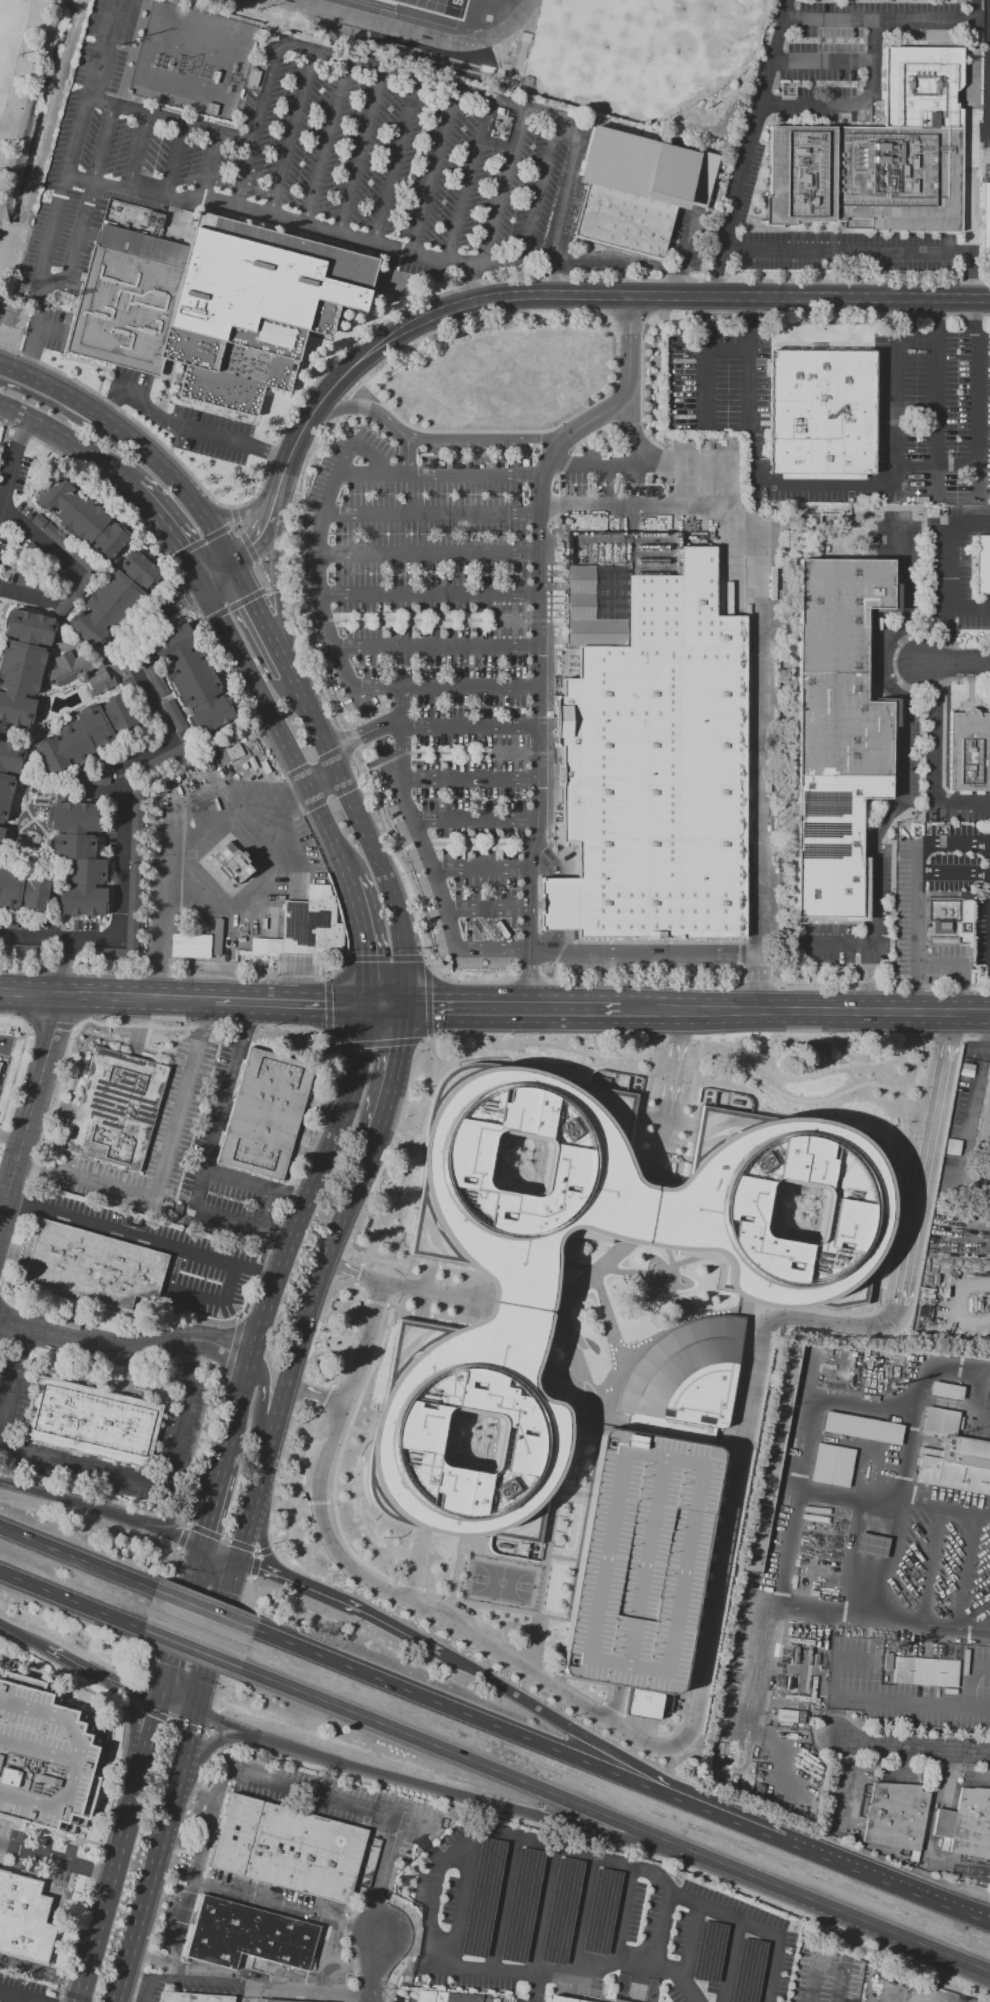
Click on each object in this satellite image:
park: (491, 6)
park: (437, 7)
park: (421, 9)
track: (431, 15)
stadium: (441, 23)
road: (889, 24)
park: (6, 25)
building: (341, 27)
park: (8, 33)
park: (641, 51)
road: (822, 63)
road: (988, 65)
building: (253, 78)
road: (430, 86)
road: (856, 104)
road: (30, 106)
park: (29, 109)
building: (211, 109)
road: (171, 122)
road: (258, 126)
road: (753, 126)
road: (989, 130)
road: (292, 135)
road: (10, 138)
road: (970, 139)
road: (328, 144)
road: (102, 145)
road: (140, 153)
road: (362, 153)
building: (878, 156)
road: (175, 162)
road: (397, 163)
road: (212, 167)
road: (436, 173)
road: (989, 173)
road: (468, 182)
road: (503, 187)
road: (541, 187)
building: (639, 189)
road: (563, 191)
road: (241, 208)
road: (59, 212)
building: (985, 215)
road: (75, 240)
road: (844, 253)
road: (680, 255)
road: (615, 259)
road: (484, 261)
road: (712, 277)
road: (554, 278)
road: (970, 280)
road: (473, 284)
power tower: (16, 294)
power tower: (58, 299)
building: (211, 301)
road: (655, 301)
road: (824, 313)
road: (974, 314)
road: (49, 328)
road: (956, 342)
road: (935, 381)
road: (54, 387)
road: (977, 389)
road: (127, 397)
road: (50, 404)
road: (731, 406)
road: (897, 408)
building: (821, 413)
road: (313, 417)
road: (633, 437)
road: (70, 438)
road: (438, 439)
road: (223, 440)
road: (408, 456)
road: (10, 457)
building: (517, 461)
building: (472, 463)
building: (506, 463)
building: (479, 464)
building: (492, 464)
building: (498, 464)
road: (606, 464)
road: (957, 464)
building: (438, 465)
building: (453, 465)
building: (460, 465)
building: (466, 465)
road: (284, 472)
road: (440, 475)
road: (177, 482)
road: (790, 484)
road: (65, 498)
road: (629, 507)
road: (298, 509)
road: (240, 515)
road: (431, 515)
building: (81, 517)
road: (109, 519)
road: (172, 529)
road: (265, 530)
building: (61, 542)
road: (199, 543)
road: (428, 556)
road: (905, 559)
traffic signals: (232, 562)
building: (43, 563)
building: (982, 566)
road: (69, 567)
road: (219, 571)
road: (945, 574)
road: (124, 575)
traffic signals: (206, 580)
road: (261, 582)
building: (33, 584)
road: (279, 586)
road: (279, 589)
road: (429, 594)
building: (74, 595)
building: (729, 598)
building: (113, 599)
building: (720, 605)
road: (80, 606)
road: (968, 611)
building: (588, 613)
road: (260, 617)
road: (538, 632)
road: (327, 638)
road: (26, 642)
parking lot: (450, 642)
road: (58, 646)
road: (434, 647)
road: (90, 651)
building: (22, 663)
road: (102, 664)
road: (955, 664)
building: (66, 668)
road: (946, 671)
building: (192, 679)
road: (115, 680)
building: (98, 682)
road: (258, 684)
road: (50, 687)
road: (914, 687)
road: (167, 690)
road: (19, 694)
road: (160, 699)
building: (167, 701)
road: (100, 711)
road: (755, 723)
road: (314, 724)
road: (33, 728)
road: (430, 728)
building: (834, 729)
road: (907, 732)
road: (14, 733)
building: (85, 734)
building: (243, 740)
building: (251, 741)
building: (969, 750)
building: (236, 751)
road: (63, 752)
building: (228, 753)
road: (938, 753)
building: (165, 758)
building: (246, 760)
building: (225, 762)
building: (216, 764)
building: (240, 764)
building: (654, 772)
building: (256, 773)
road: (10, 774)
building: (8, 777)
road: (123, 777)
building: (162, 779)
road: (468, 780)
building: (92, 781)
road: (326, 782)
road: (97, 792)
building: (171, 793)
road: (276, 807)
road: (19, 810)
building: (158, 810)
building: (73, 817)
road: (474, 820)
road: (4, 826)
road: (82, 833)
road: (330, 833)
road: (954, 842)
road: (7, 847)
road: (46, 848)
road: (10, 860)
parking lot: (942, 860)
building: (133, 865)
building: (229, 866)
road: (274, 866)
road: (480, 870)
building: (79, 875)
road: (954, 877)
road: (390, 883)
road: (83, 885)
building: (22, 889)
road: (871, 898)
road: (20, 900)
road: (486, 909)
building: (9, 922)
road: (160, 925)
road: (917, 925)
building: (948, 925)
building: (307, 926)
building: (217, 936)
road: (365, 937)
road: (837, 945)
building: (191, 946)
road: (469, 950)
building: (23, 952)
building: (105, 953)
road: (378, 962)
road: (332, 965)
road: (65, 966)
road: (953, 967)
road: (525, 977)
road: (457, 979)
road: (767, 985)
road: (107, 994)
road: (291, 999)
traffic signals: (370, 999)
road: (391, 999)
traffic signals: (412, 1000)
road: (584, 1002)
road: (873, 1007)
road: (956, 1041)
road: (383, 1042)
road: (836, 1048)
road: (469, 1052)
road: (434, 1053)
road: (672, 1058)
road: (397, 1065)
road: (795, 1101)
road: (32, 1108)
building: (115, 1109)
road: (649, 1109)
building: (264, 1114)
road: (682, 1115)
building: (984, 1120)
road: (399, 1127)
road: (210, 1151)
road: (913, 1151)
road: (164, 1167)
road: (254, 1185)
road: (5, 1186)
road: (903, 1219)
road: (289, 1232)
road: (140, 1238)
building: (94, 1268)
road: (372, 1278)
road: (423, 1289)
road: (215, 1297)
building: (785, 1301)
road: (371, 1303)
road: (953, 1305)
road: (123, 1347)
building: (686, 1373)
road: (14, 1386)
building: (946, 1391)
road: (311, 1394)
building: (554, 1396)
building: (986, 1396)
road: (975, 1402)
road: (262, 1408)
road: (276, 1418)
building: (942, 1421)
building: (93, 1422)
building: (668, 1428)
building: (862, 1428)
road: (910, 1441)
building: (771, 1457)
road: (337, 1459)
building: (955, 1465)
building: (833, 1466)
road: (727, 1467)
road: (158, 1484)
road: (311, 1502)
road: (103, 1506)
road: (211, 1508)
road: (191, 1510)
road: (794, 1525)
park: (571, 1528)
road: (182, 1537)
road: (219, 1537)
building: (870, 1544)
traffic signals: (202, 1547)
road: (223, 1554)
road: (269, 1555)
road: (72, 1556)
road: (892, 1558)
traffic signals: (244, 1561)
building: (639, 1561)
parking garage: (639, 1561)
road: (252, 1563)
road: (196, 1566)
road: (419, 1566)
road: (930, 1567)
road: (965, 1572)
road: (279, 1576)
park: (499, 1584)
road: (410, 1588)
road: (67, 1598)
road: (203, 1610)
road: (380, 1619)
road: (955, 1631)
road: (23, 1633)
road: (173, 1643)
road: (511, 1647)
road: (192, 1649)
road: (696, 1649)
road: (75, 1662)
road: (835, 1670)
building: (925, 1671)
road: (970, 1679)
road: (130, 1688)
traffic signals: (156, 1701)
road: (611, 1704)
road: (901, 1706)
road: (176, 1708)
road: (612, 1709)
road: (979, 1710)
road: (133, 1715)
traffic signals: (197, 1715)
building: (789, 1715)
road: (472, 1717)
road: (563, 1725)
road: (212, 1742)
road: (909, 1750)
road: (185, 1759)
building: (42, 1762)
road: (947, 1777)
road: (969, 1779)
road: (218, 1785)
road: (430, 1787)
road: (846, 1787)
building: (897, 1815)
road: (620, 1823)
building: (967, 1823)
road: (180, 1847)
building: (288, 1849)
road: (120, 1851)
road: (819, 1855)
road: (57, 1859)
road: (386, 1869)
road: (435, 1880)
road: (379, 1895)
building: (481, 1897)
road: (147, 1903)
road: (503, 1903)
building: (521, 1905)
road: (542, 1909)
building: (560, 1910)
road: (286, 1911)
building: (600, 1911)
road: (972, 1913)
road: (580, 1914)
road: (619, 1914)
road: (972, 1916)
building: (22, 1922)
road: (753, 1926)
road: (661, 1927)
road: (456, 1928)
building: (252, 1935)
road: (401, 1935)
road: (436, 1942)
building: (708, 1951)
road: (728, 1960)
road: (150, 1961)
road: (376, 1966)
building: (747, 1970)
road: (650, 1982)
road: (841, 1984)
road: (535, 1987)
road: (248, 1988)
road: (838, 1988)
road: (142, 1992)
building: (449, 1996)
road: (15, 1997)
road: (836, 1997)
road: (862, 1997)
building: (193, 1998)
road: (345, 1998)
road: (595, 1998)
building: (564, 1999)
building: (273, 2000)
road: (27, 2001)
building: (618, 2001)

